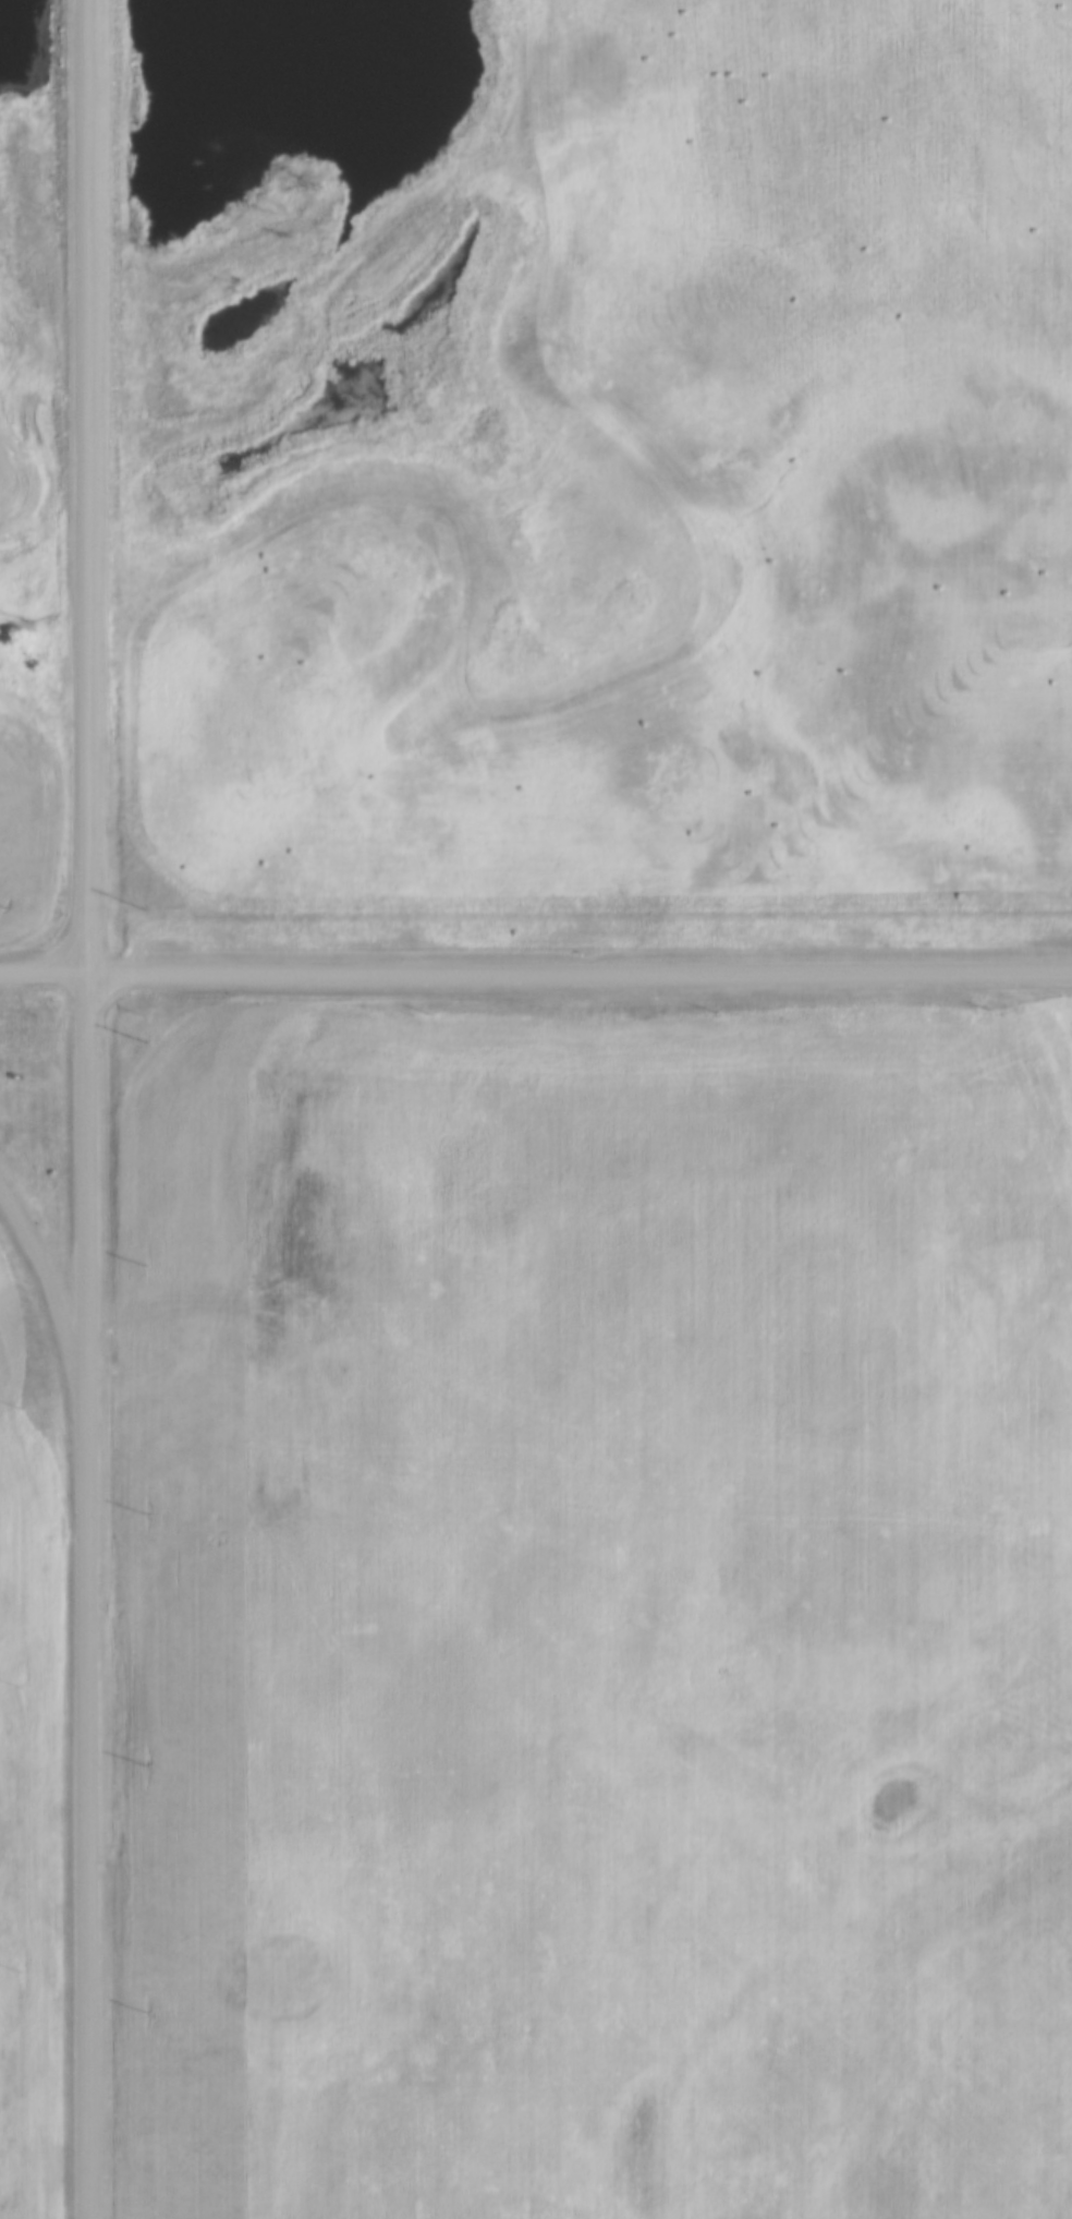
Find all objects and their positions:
road: (536, 968)
road: (90, 1109)
road: (57, 1282)

